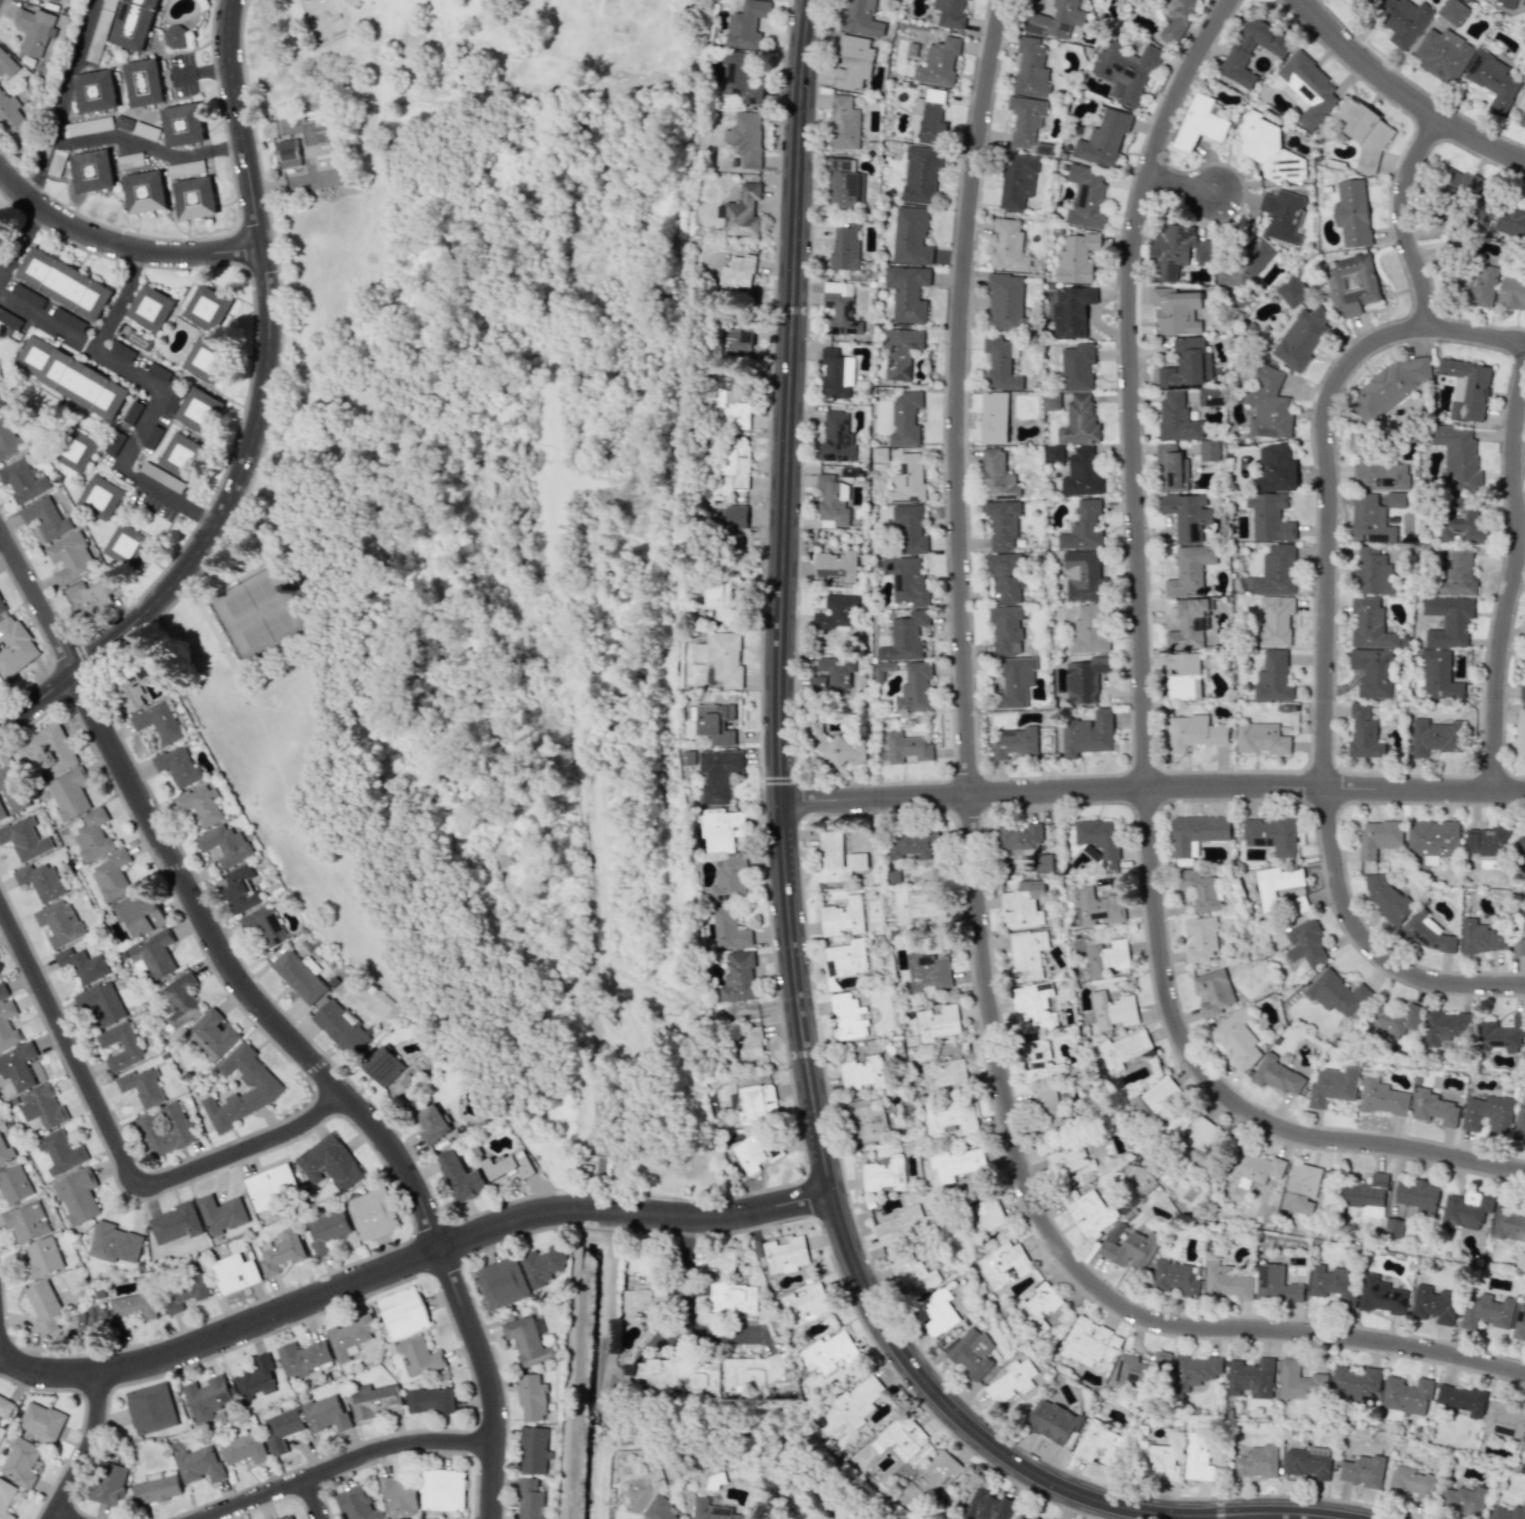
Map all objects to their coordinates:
building: (968, 0)
building: (1357, 1)
building: (61, 2)
building: (1507, 3)
building: (1455, 12)
building: (950, 13)
building: (860, 18)
building: (1177, 19)
building: (1055, 20)
building: (1403, 20)
building: (133, 23)
building: (747, 24)
building: (35, 29)
building: (99, 30)
building: (174, 36)
building: (1253, 50)
building: (1443, 55)
building: (854, 62)
building: (939, 62)
building: (7, 65)
building: (1031, 68)
building: (1126, 71)
building: (1494, 80)
building: (143, 82)
building: (742, 84)
building: (1309, 88)
building: (94, 91)
road: (1404, 94)
road: (62, 100)
building: (929, 116)
building: (1025, 120)
building: (13, 121)
building: (1523, 121)
building: (122, 122)
building: (844, 123)
building: (1200, 123)
building: (182, 125)
building: (87, 126)
building: (145, 130)
building: (1366, 133)
building: (747, 138)
building: (1104, 138)
road: (147, 146)
building: (1270, 149)
building: (289, 153)
building: (130, 160)
building: (56, 162)
building: (185, 169)
building: (92, 170)
building: (921, 174)
building: (1018, 180)
building: (844, 184)
road: (1182, 184)
building: (144, 191)
building: (1470, 192)
building: (1086, 196)
building: (195, 197)
building: (742, 212)
building: (1352, 212)
building: (1283, 215)
road: (1405, 221)
building: (1513, 221)
building: (911, 236)
road: (16, 238)
building: (1008, 245)
building: (846, 247)
road: (121, 248)
building: (1170, 249)
building: (1076, 258)
building: (1253, 258)
building: (739, 276)
building: (64, 283)
building: (1352, 284)
building: (1473, 285)
building: (1292, 291)
building: (908, 292)
building: (1512, 292)
building: (28, 295)
road: (120, 301)
building: (1005, 301)
building: (152, 308)
building: (209, 308)
building: (842, 308)
building: (1071, 310)
building: (1177, 311)
building: (69, 319)
road: (1477, 333)
building: (1302, 338)
building: (138, 339)
building: (734, 343)
building: (122, 351)
building: (901, 351)
building: (209, 360)
building: (1001, 363)
building: (1188, 363)
building: (1077, 367)
road: (269, 369)
building: (159, 372)
building: (837, 374)
building: (71, 377)
building: (1390, 387)
building: (1468, 388)
building: (1211, 397)
road: (149, 398)
building: (1269, 405)
building: (197, 408)
building: (729, 409)
building: (906, 418)
building: (995, 418)
building: (1177, 418)
building: (1080, 421)
building: (10, 437)
building: (837, 438)
building: (1209, 450)
building: (74, 451)
building: (178, 453)
building: (880, 454)
building: (1054, 454)
building: (1457, 458)
building: (738, 460)
building: (1171, 468)
building: (1277, 468)
building: (998, 476)
building: (23, 480)
building: (909, 480)
building: (99, 497)
building: (1395, 500)
building: (834, 501)
building: (1187, 515)
building: (45, 517)
building: (1270, 517)
building: (731, 519)
building: (1370, 520)
building: (1003, 523)
building: (1084, 527)
building: (911, 530)
park: (473, 544)
building: (126, 545)
building: (70, 558)
building: (837, 565)
building: (1190, 570)
building: (1373, 571)
building: (1274, 572)
building: (1459, 573)
building: (1083, 574)
building: (1006, 576)
building: (907, 580)
road: (1514, 587)
building: (90, 597)
building: (721, 599)
building: (2, 606)
building: (1449, 620)
building: (1275, 621)
building: (1189, 623)
building: (1371, 624)
building: (1007, 629)
building: (1090, 629)
building: (906, 637)
building: (14, 647)
building: (723, 657)
building: (1373, 671)
building: (834, 674)
building: (1182, 676)
building: (1439, 676)
building: (1273, 678)
building: (1085, 679)
building: (1015, 683)
building: (0, 685)
building: (916, 688)
building: (1522, 691)
road: (1323, 692)
building: (128, 695)
road: (1147, 701)
road: (37, 704)
building: (158, 721)
building: (718, 726)
building: (1194, 732)
building: (1364, 733)
building: (1521, 733)
building: (1088, 734)
building: (1434, 736)
building: (1260, 738)
building: (1016, 743)
building: (908, 747)
building: (840, 748)
building: (47, 749)
building: (177, 766)
building: (719, 774)
building: (13, 789)
road: (1153, 790)
building: (69, 793)
building: (200, 804)
building: (2, 812)
building: (722, 829)
building: (1197, 833)
building: (93, 835)
building: (1272, 835)
building: (1019, 837)
building: (25, 838)
building: (1379, 838)
building: (1432, 840)
building: (1488, 842)
building: (1522, 843)
building: (914, 844)
building: (224, 845)
building: (112, 875)
road: (977, 876)
building: (730, 879)
building: (1106, 880)
building: (41, 881)
building: (1276, 884)
building: (240, 888)
building: (1200, 889)
building: (1386, 896)
building: (1023, 905)
building: (917, 906)
building: (1098, 907)
building: (140, 914)
building: (844, 917)
building: (59, 922)
building: (263, 925)
building: (730, 929)
building: (1427, 932)
building: (1484, 936)
road: (791, 937)
building: (1201, 938)
building: (1519, 941)
building: (1306, 943)
building: (153, 955)
building: (1027, 955)
building: (845, 958)
building: (1108, 958)
building: (83, 964)
building: (928, 972)
building: (300, 976)
building: (739, 977)
building: (3, 990)
building: (1214, 991)
building: (1337, 993)
building: (179, 1000)
building: (101, 1003)
building: (1033, 1008)
building: (1113, 1010)
building: (848, 1017)
building: (1394, 1019)
road: (276, 1021)
building: (938, 1022)
building: (7, 1026)
building: (1446, 1027)
building: (341, 1028)
building: (215, 1032)
building: (1501, 1035)
building: (1238, 1038)
building: (130, 1044)
building: (748, 1047)
building: (1123, 1049)
building: (1042, 1061)
building: (18, 1066)
building: (382, 1066)
building: (863, 1073)
building: (945, 1074)
building: (1277, 1075)
building: (258, 1082)
building: (142, 1086)
building: (1332, 1086)
building: (1158, 1097)
building: (1382, 1098)
building: (757, 1103)
building: (42, 1107)
building: (1434, 1107)
building: (1489, 1114)
building: (951, 1116)
building: (867, 1120)
building: (1519, 1123)
building: (432, 1125)
building: (166, 1129)
building: (1198, 1142)
building: (7, 1148)
road: (115, 1148)
building: (755, 1151)
building: (60, 1152)
building: (330, 1163)
building: (956, 1163)
building: (1071, 1163)
building: (507, 1167)
building: (1256, 1168)
building: (884, 1174)
building: (459, 1176)
building: (14, 1183)
building: (271, 1186)
building: (1302, 1188)
building: (77, 1195)
building: (1366, 1195)
building: (1417, 1195)
building: (1465, 1210)
building: (1089, 1212)
building: (221, 1214)
building: (372, 1214)
building: (986, 1215)
building: (26, 1221)
building: (175, 1223)
building: (1508, 1224)
building: (903, 1225)
building: (1393, 1228)
building: (327, 1231)
building: (1117, 1232)
building: (114, 1243)
building: (1130, 1250)
building: (281, 1252)
building: (785, 1255)
building: (42, 1258)
building: (1521, 1261)
road: (406, 1264)
building: (543, 1265)
building: (1004, 1265)
building: (234, 1273)
building: (916, 1274)
building: (1176, 1277)
building: (502, 1282)
building: (1227, 1282)
building: (1334, 1284)
building: (646, 1285)
building: (1275, 1285)
building: (184, 1293)
building: (1381, 1295)
building: (807, 1302)
building: (1434, 1304)
building: (44, 1305)
building: (1038, 1307)
building: (133, 1308)
building: (403, 1312)
building: (936, 1312)
building: (1487, 1312)
road: (686, 1314)
building: (93, 1320)
building: (1519, 1324)
building: (350, 1337)
building: (526, 1341)
building: (1090, 1342)
building: (829, 1352)
building: (968, 1354)
road: (4, 1355)
building: (304, 1357)
building: (419, 1357)
building: (1140, 1368)
building: (1195, 1371)
building: (754, 1372)
building: (680, 1374)
building: (256, 1378)
building: (1251, 1378)
building: (1011, 1381)
building: (1300, 1381)
building: (1355, 1382)
building: (1406, 1395)
building: (209, 1398)
building: (532, 1398)
building: (1462, 1399)
building: (373, 1400)
building: (431, 1400)
building: (859, 1400)
building: (5, 1407)
building: (151, 1408)
building: (326, 1413)
building: (1505, 1419)
building: (41, 1421)
building: (1054, 1423)
building: (282, 1429)
building: (900, 1438)
building: (1101, 1444)
building: (244, 1448)
road: (88, 1449)
building: (534, 1449)
building: (1197, 1457)
building: (1159, 1460)
building: (21, 1462)
building: (1257, 1462)
road: (345, 1463)
building: (199, 1464)
building: (1308, 1464)
building: (1362, 1471)
building: (930, 1480)
building: (1412, 1482)
building: (109, 1483)
building: (156, 1488)
building: (441, 1489)
building: (399, 1496)
building: (5, 1498)
road: (316, 1498)
building: (530, 1499)
building: (1464, 1500)
building: (357, 1504)
building: (989, 1506)
building: (661, 1509)
building: (712, 1509)
building: (1506, 1512)
road: (63, 1515)
building: (1026, 1516)
building: (287, 1517)

